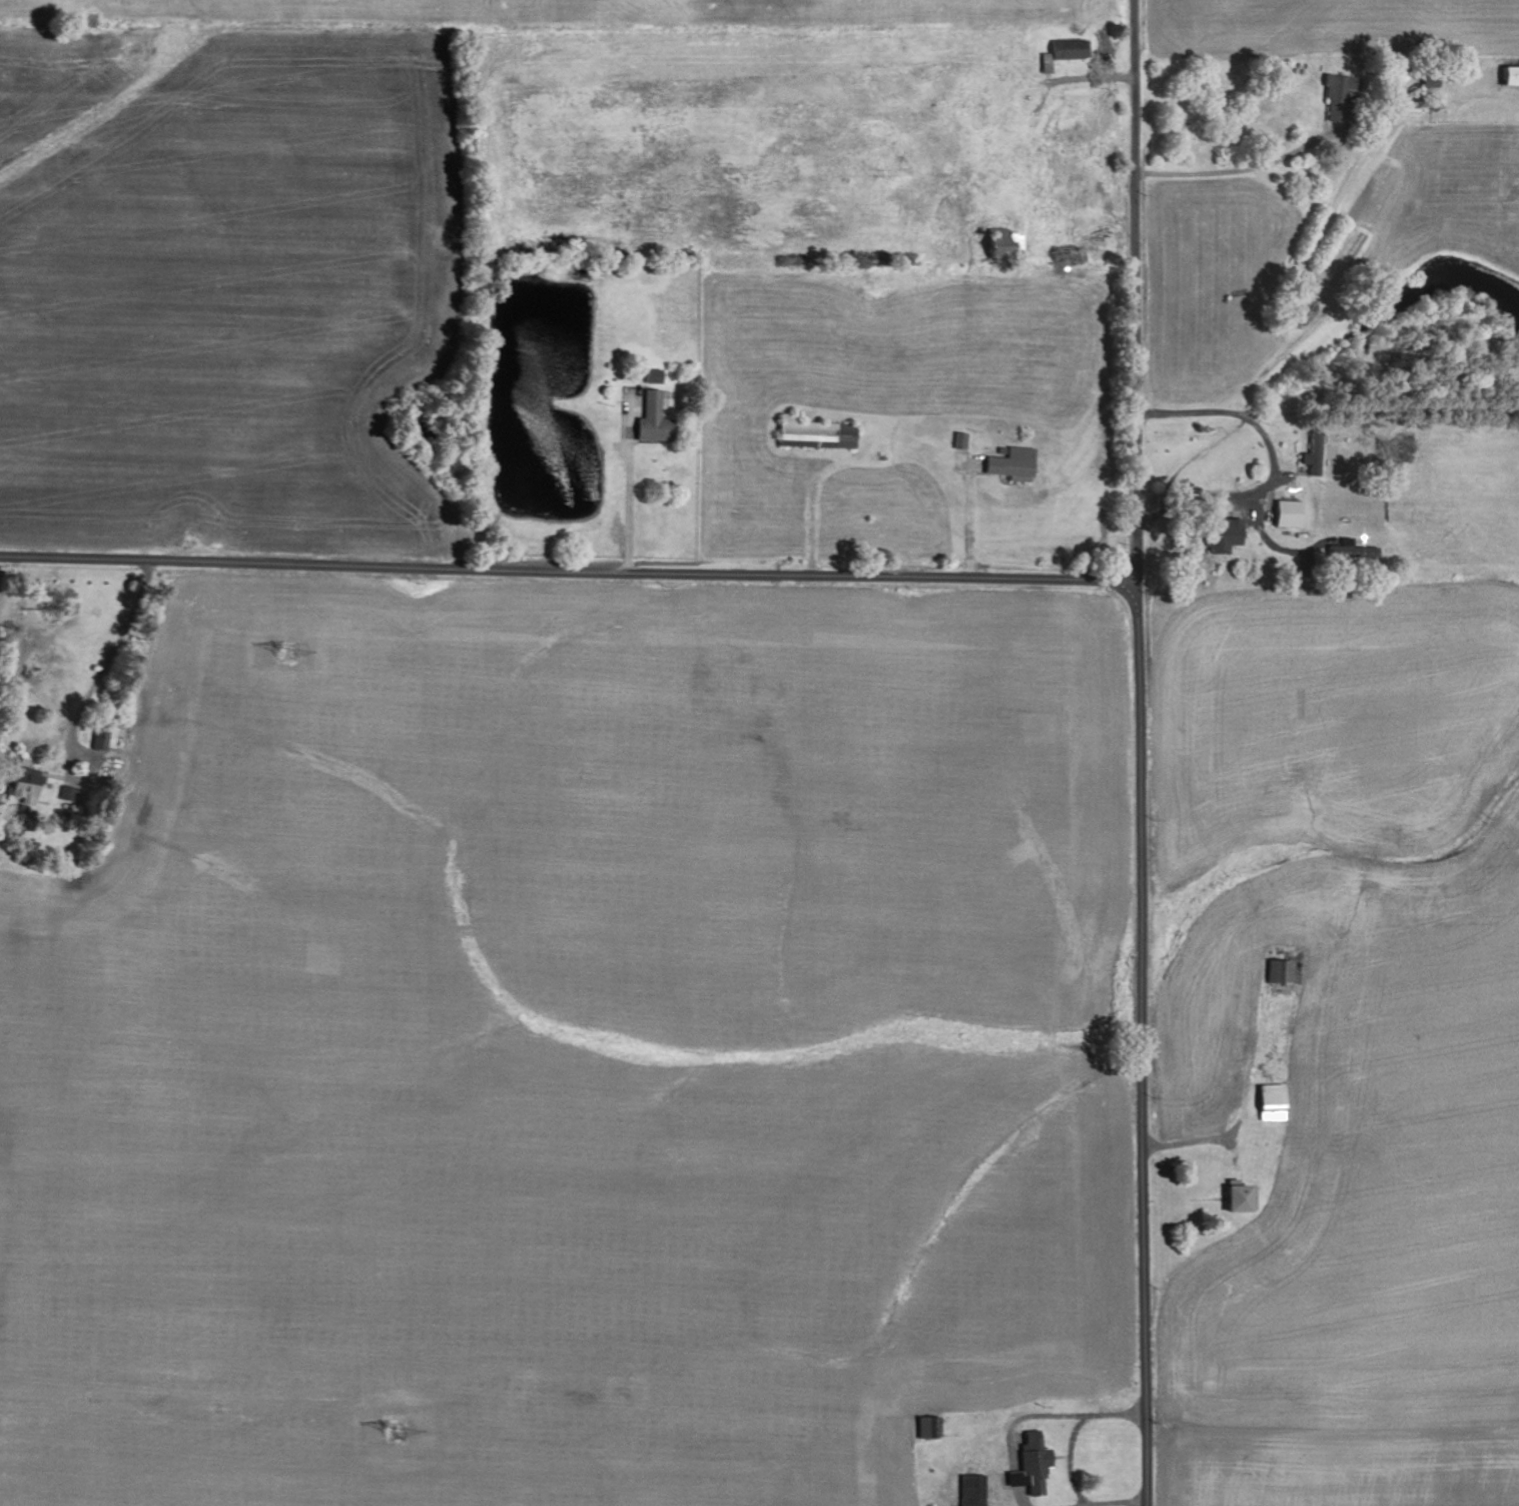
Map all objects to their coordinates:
building: (1066, 51)
road: (1138, 292)
building: (658, 378)
building: (658, 421)
building: (1012, 464)
building: (1219, 536)
road: (579, 571)
power tower: (289, 655)
building: (71, 794)
road: (1144, 1054)
power tower: (399, 1430)
building: (1029, 1462)

